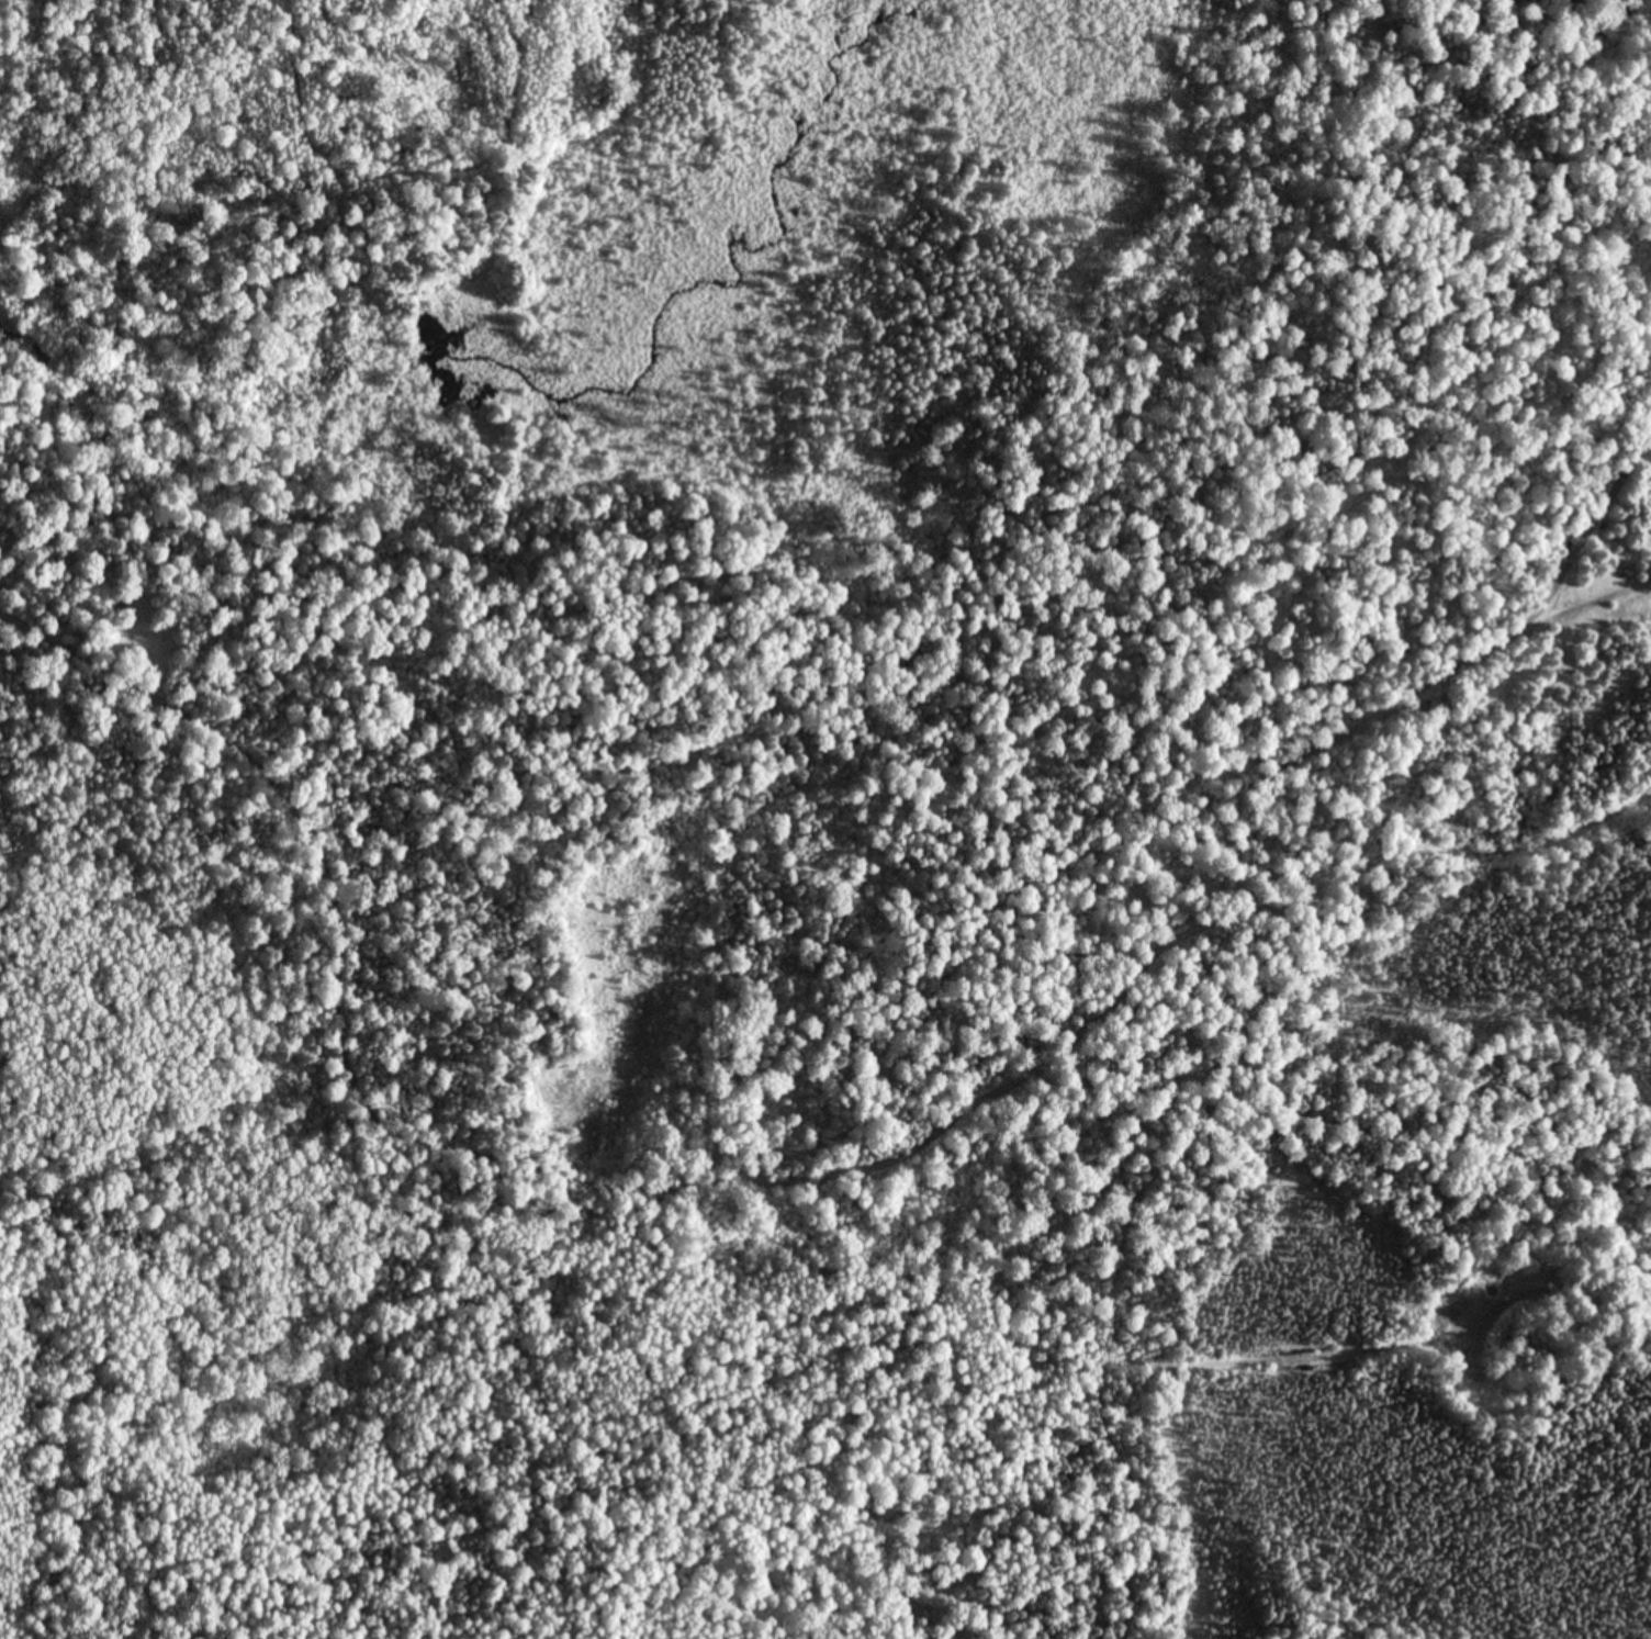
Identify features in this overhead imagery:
road: (804, 1197)

